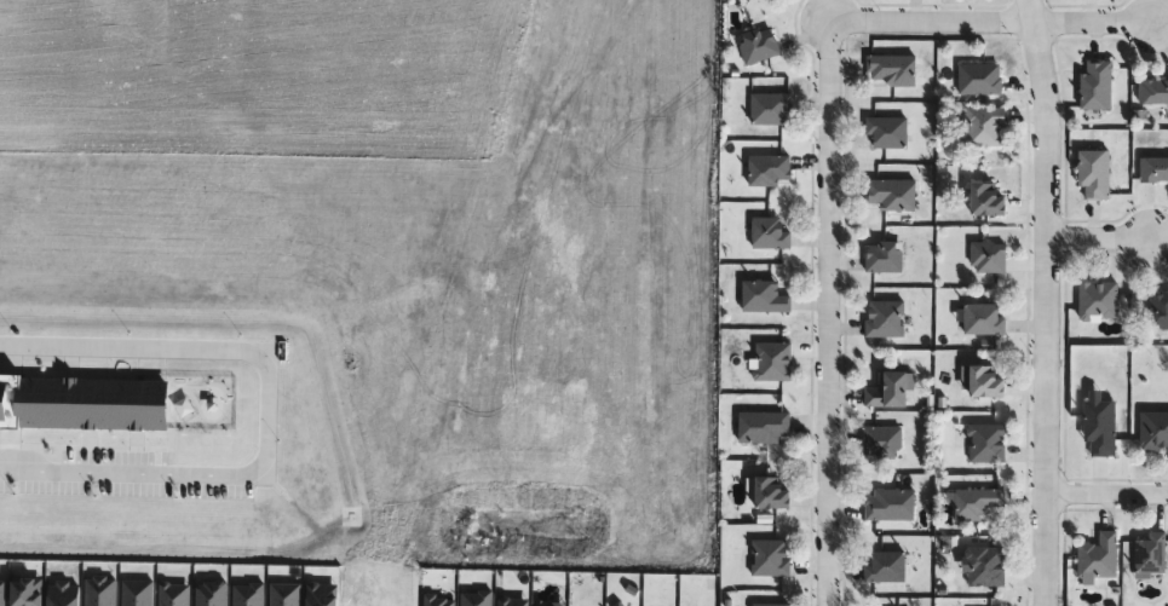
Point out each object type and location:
road: (1086, 18)
road: (922, 21)
building: (754, 46)
building: (888, 70)
building: (976, 79)
building: (1093, 85)
building: (1151, 92)
building: (766, 108)
building: (980, 127)
building: (884, 133)
building: (1152, 171)
building: (765, 172)
building: (1089, 174)
building: (887, 195)
building: (980, 201)
building: (765, 235)
road: (1097, 237)
building: (880, 256)
building: (985, 258)
building: (760, 298)
building: (1095, 300)
road: (1049, 301)
building: (1157, 310)
road: (819, 313)
building: (882, 319)
building: (979, 321)
building: (770, 362)
building: (979, 383)
building: (884, 392)
road: (258, 410)
building: (1094, 425)
building: (760, 427)
building: (1152, 434)
building: (879, 443)
building: (983, 444)
building: (761, 494)
road: (1109, 496)
building: (973, 503)
building: (885, 507)
building: (1147, 555)
building: (767, 559)
building: (1093, 559)
building: (982, 566)
building: (881, 567)
building: (767, 605)

